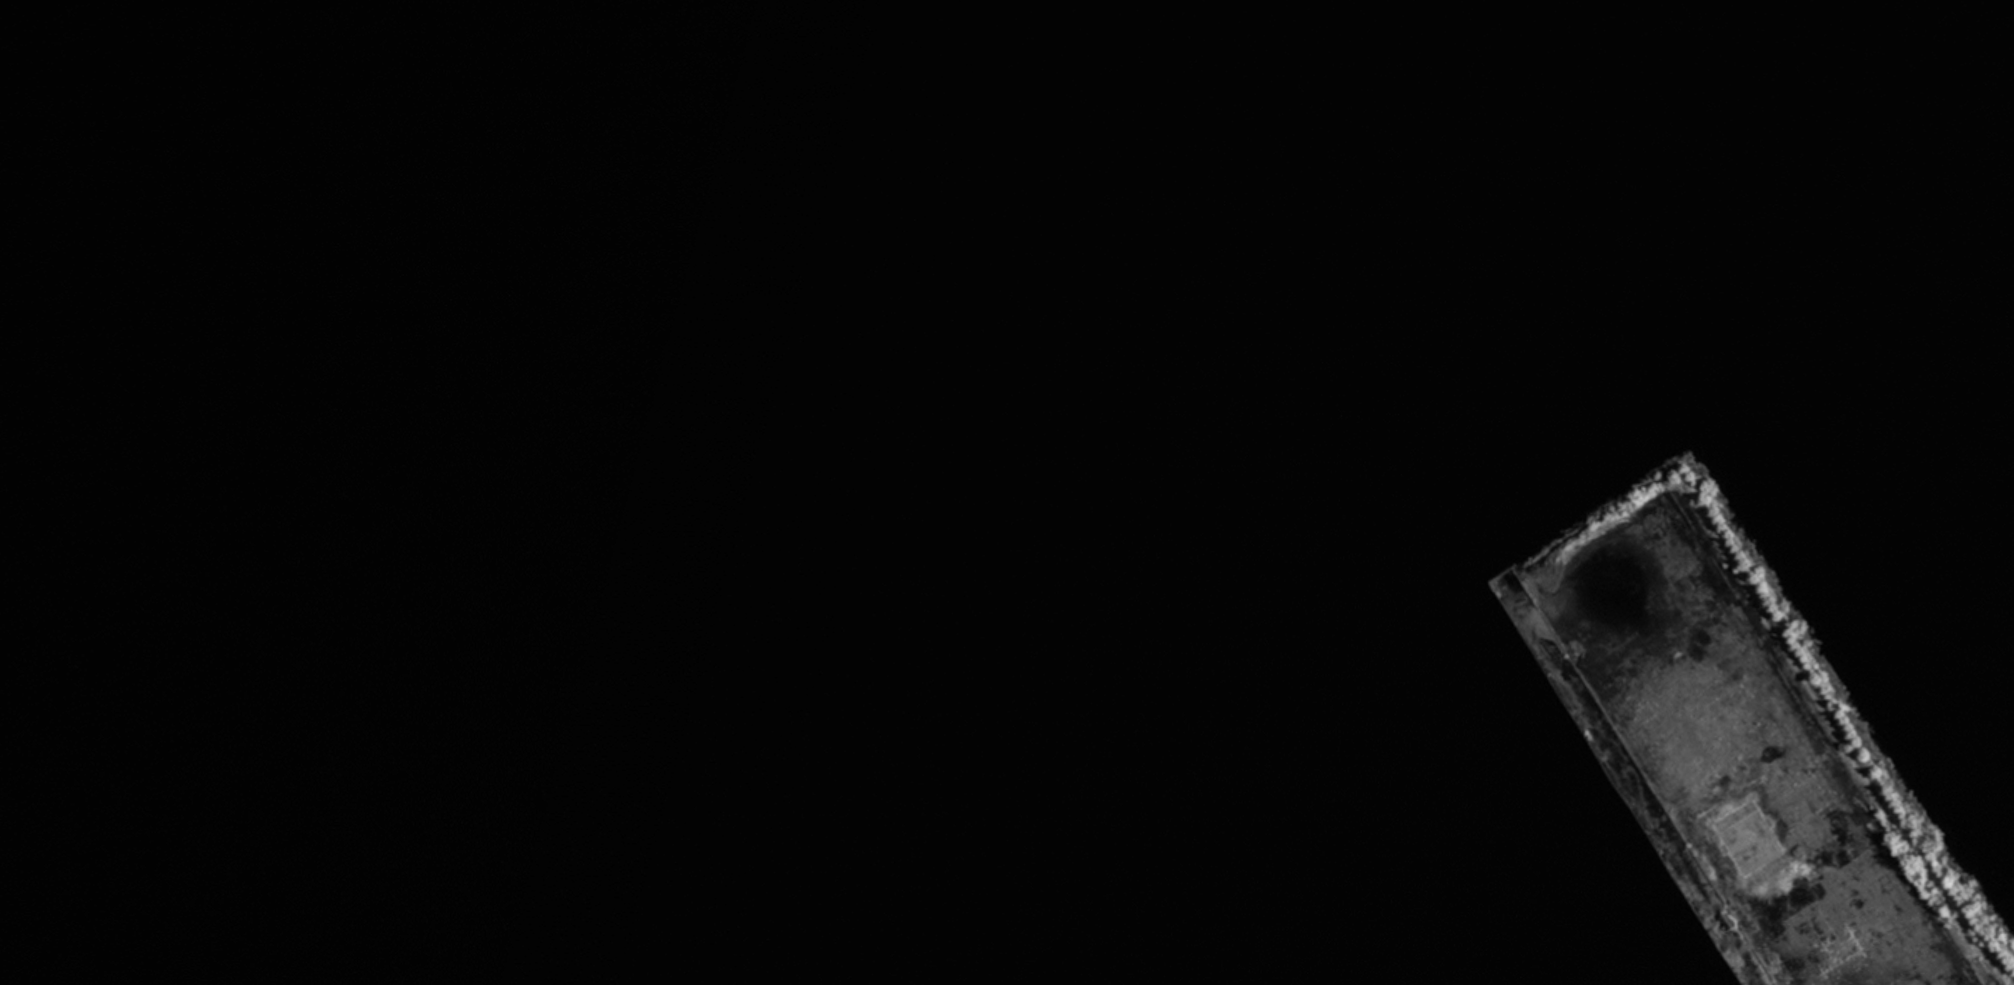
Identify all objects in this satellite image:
building: (1728, 921)

